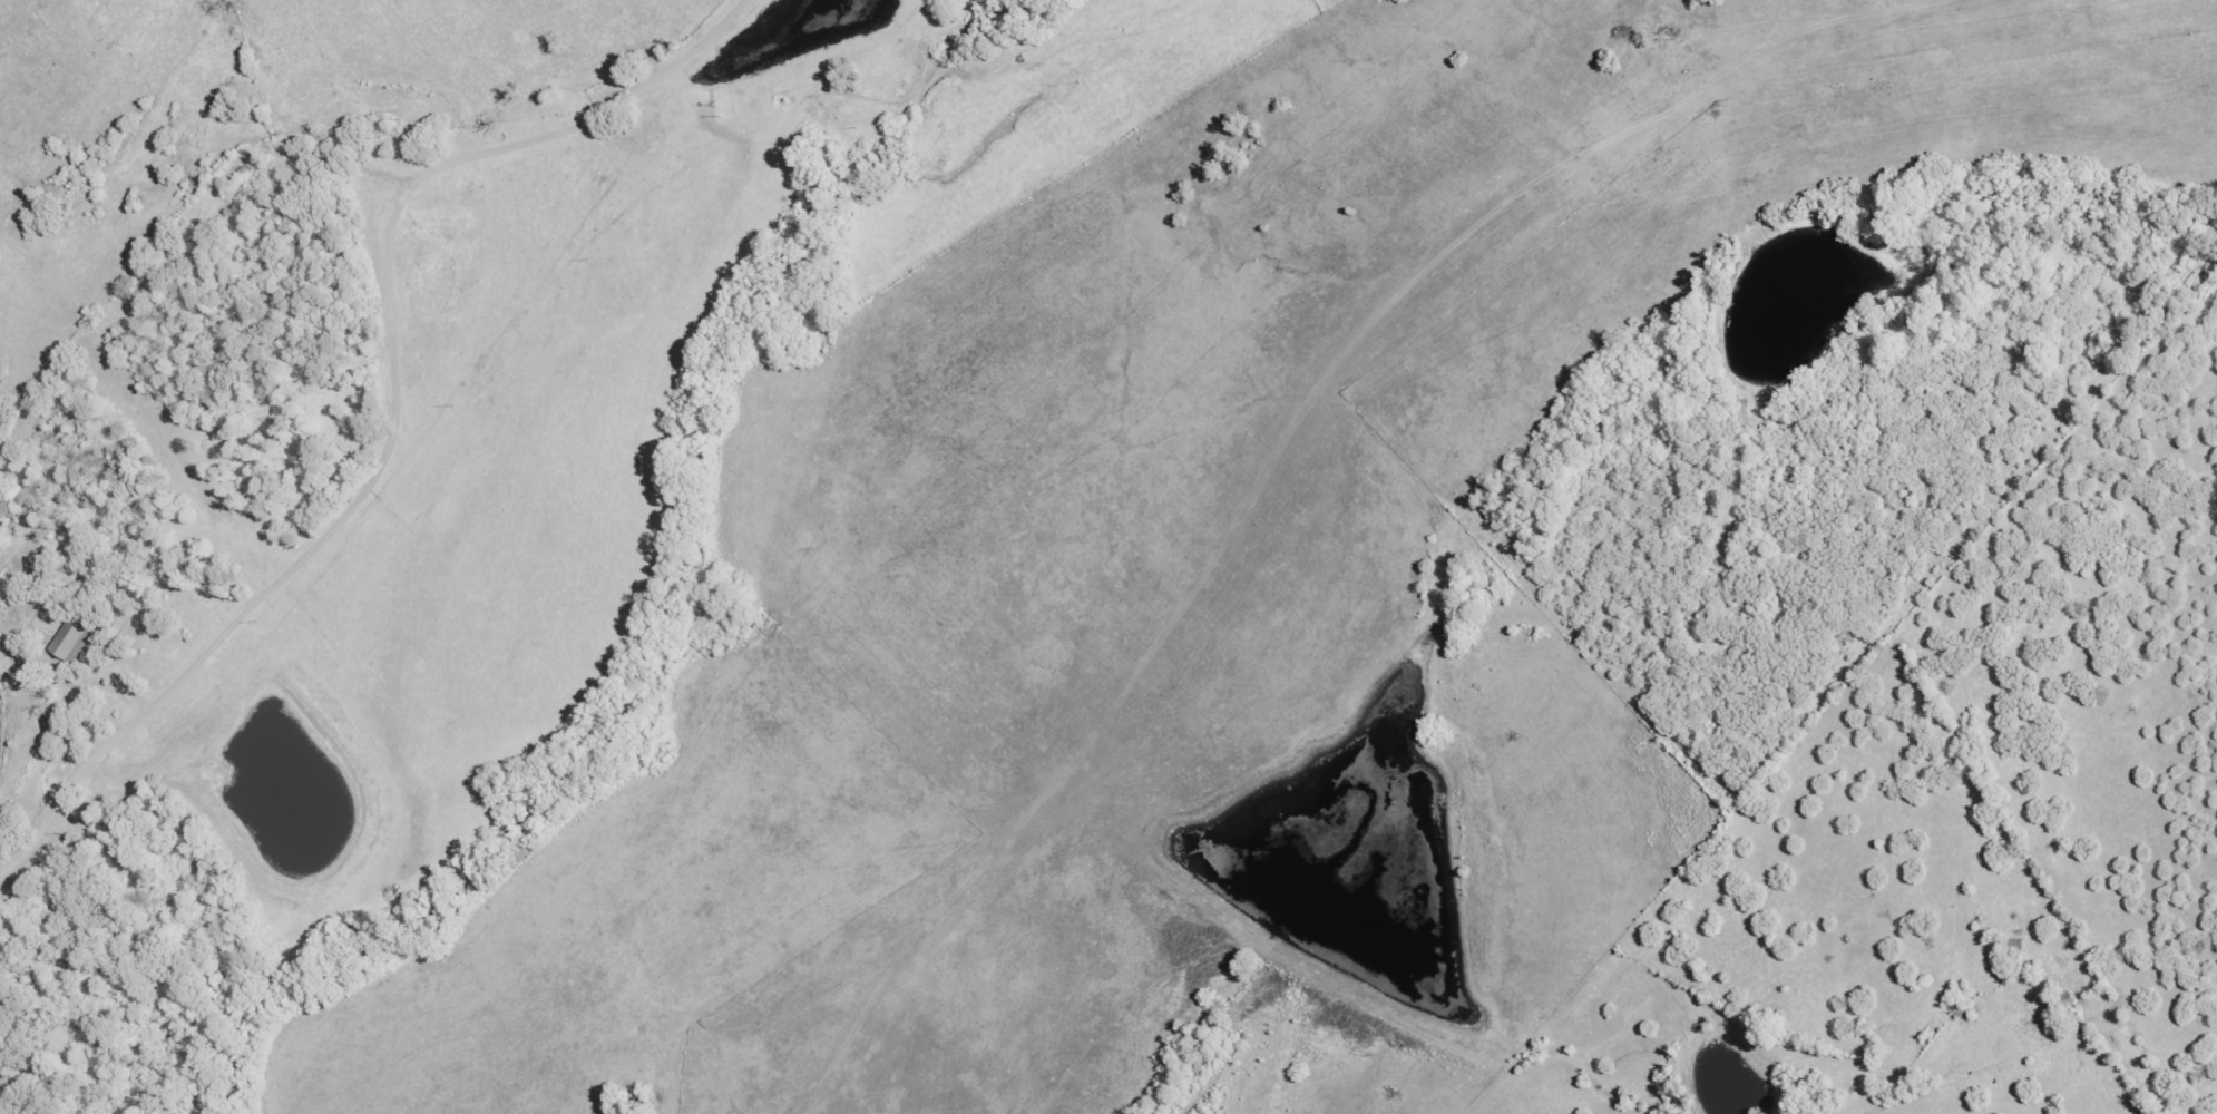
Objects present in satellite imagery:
road: (424, 447)
road: (2103, 1076)

